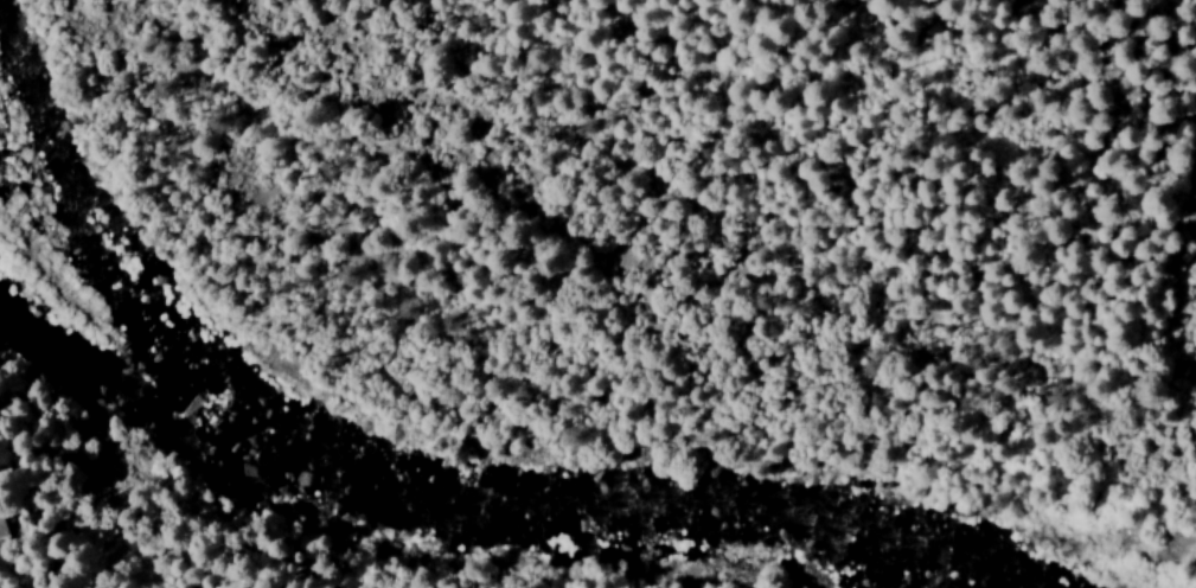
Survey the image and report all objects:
river: (497, 514)
building: (0, 531)

